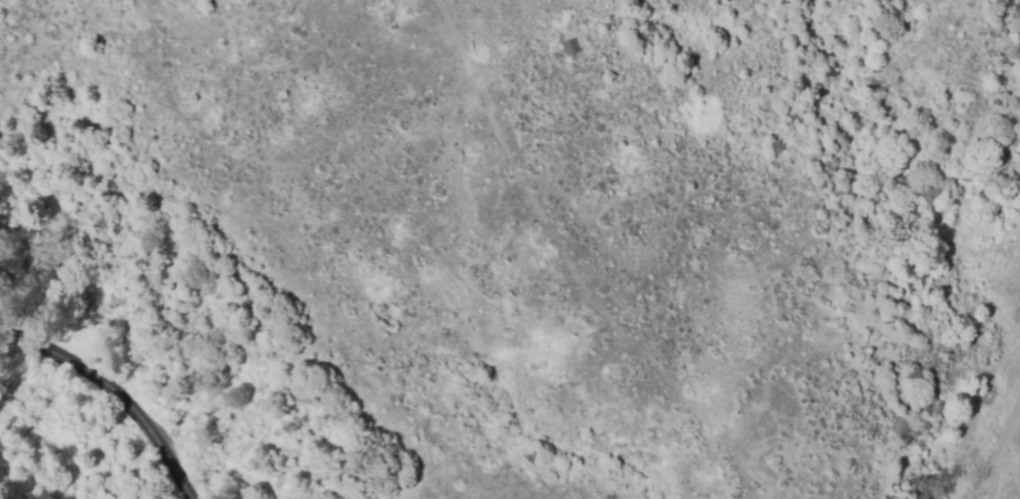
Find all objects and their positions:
building: (570, 47)
road: (117, 390)

